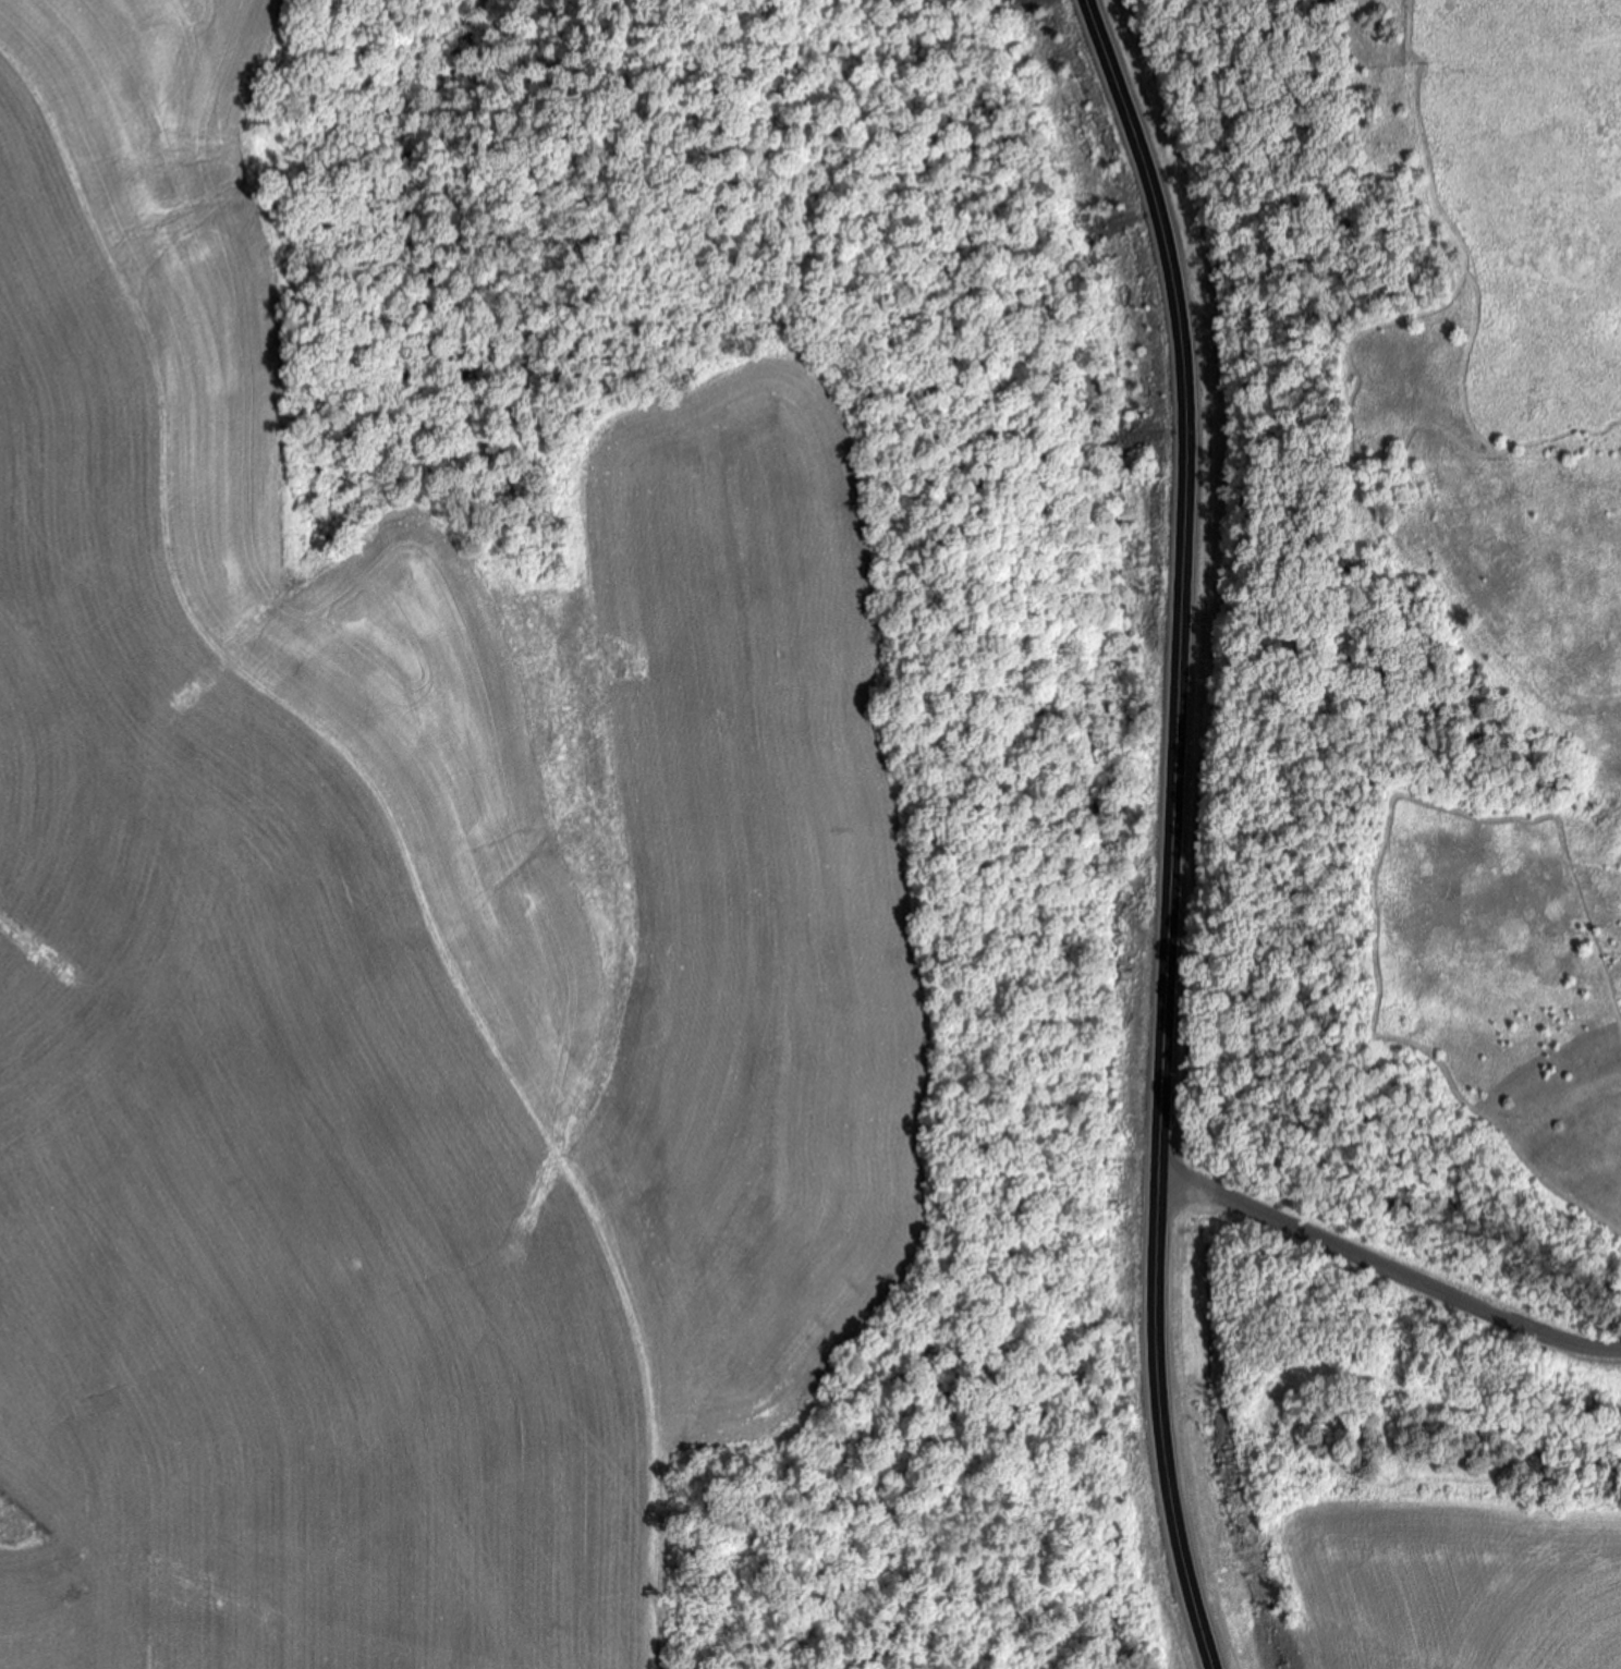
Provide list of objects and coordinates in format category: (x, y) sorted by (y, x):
road: (1173, 830)
road: (1388, 1268)

